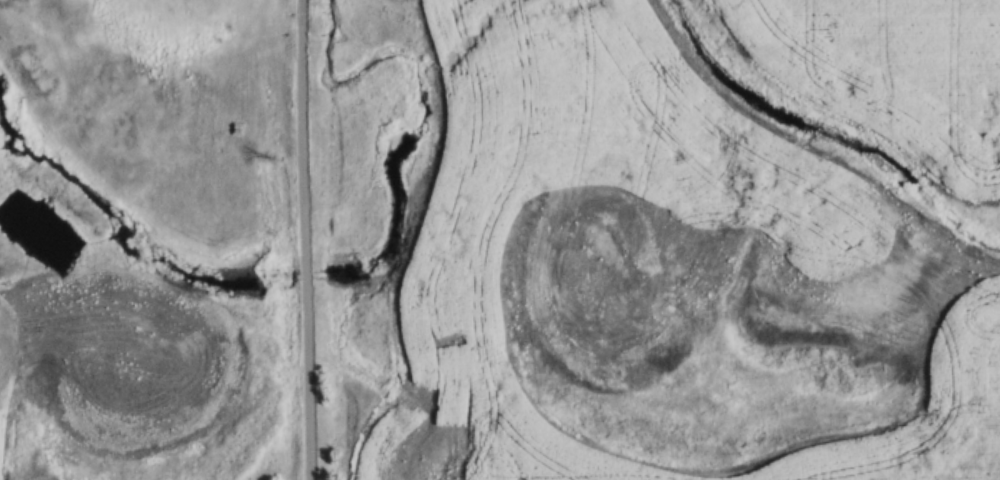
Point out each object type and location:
road: (318, 240)

